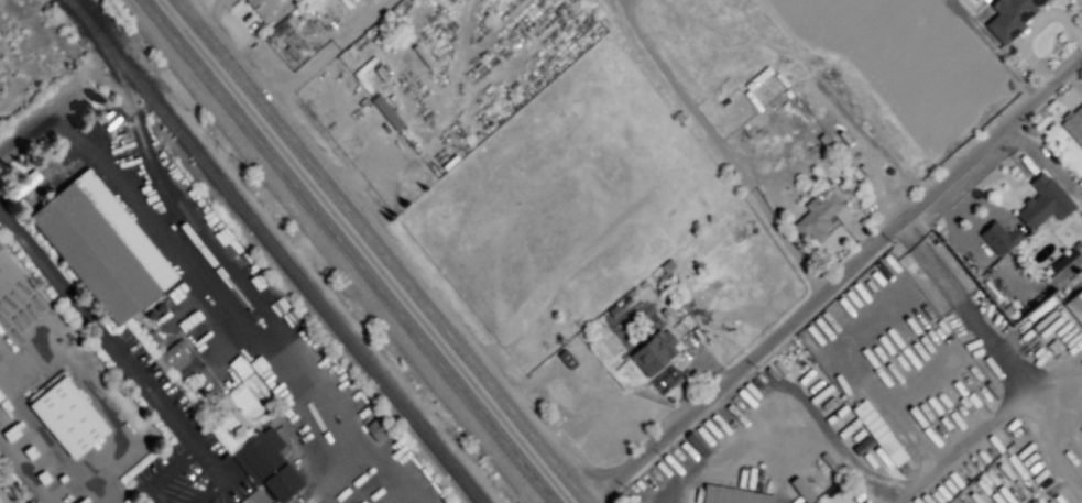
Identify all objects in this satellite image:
building: (361, 1)
building: (262, 6)
road: (209, 12)
building: (1009, 18)
building: (289, 37)
building: (350, 51)
building: (422, 55)
crop: (33, 62)
building: (364, 66)
building: (381, 74)
building: (787, 94)
building: (386, 111)
building: (1073, 125)
road: (24, 132)
building: (839, 139)
building: (822, 142)
road: (719, 146)
building: (767, 156)
building: (449, 162)
road: (1046, 162)
railway: (149, 164)
building: (827, 182)
building: (1043, 205)
building: (820, 217)
building: (996, 238)
building: (102, 247)
railway: (260, 251)
railway: (274, 251)
railway: (292, 251)
road: (340, 251)
road: (381, 251)
building: (1063, 260)
road: (834, 278)
road: (232, 302)
building: (1004, 306)
building: (1075, 306)
road: (97, 331)
building: (154, 337)
building: (1053, 346)
building: (654, 352)
building: (171, 354)
building: (566, 359)
building: (827, 363)
building: (976, 371)
road: (1016, 372)
building: (853, 389)
building: (560, 394)
building: (963, 401)
building: (68, 417)
road: (609, 418)
building: (376, 429)
building: (881, 436)
building: (695, 444)
road: (194, 448)
road: (29, 460)
building: (267, 461)
building: (1019, 470)
building: (732, 495)

